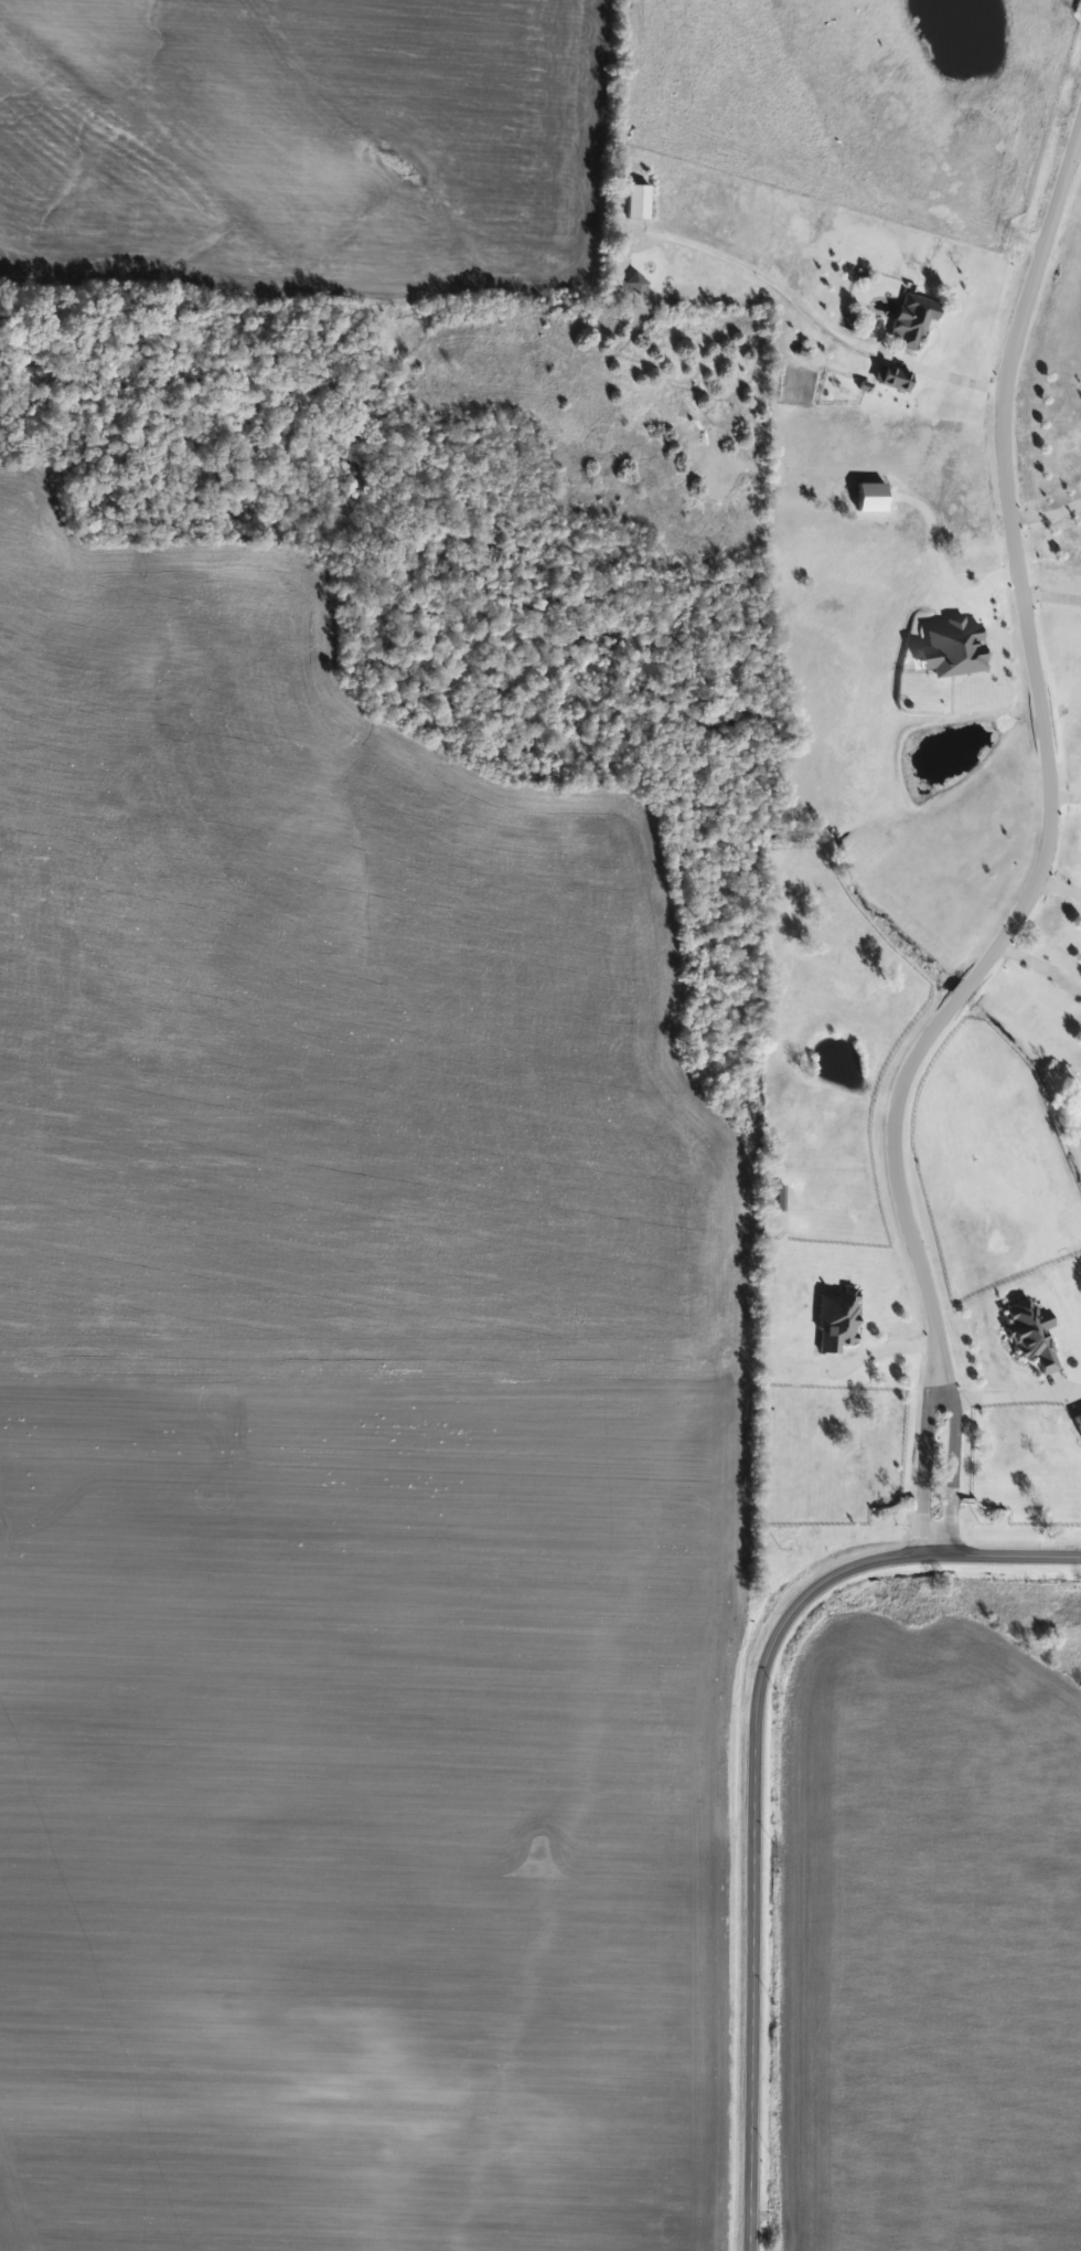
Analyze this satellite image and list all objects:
building: (635, 202)
building: (634, 283)
road: (809, 320)
building: (911, 320)
building: (889, 376)
road: (1045, 509)
road: (985, 585)
road: (1050, 593)
road: (1042, 737)
road: (1063, 796)
road: (1056, 884)
road: (1035, 964)
building: (835, 1319)
building: (1029, 1334)
road: (886, 1350)
road: (1000, 1395)
building: (1078, 1421)
road: (922, 1447)
road: (948, 1447)
road: (750, 1771)

